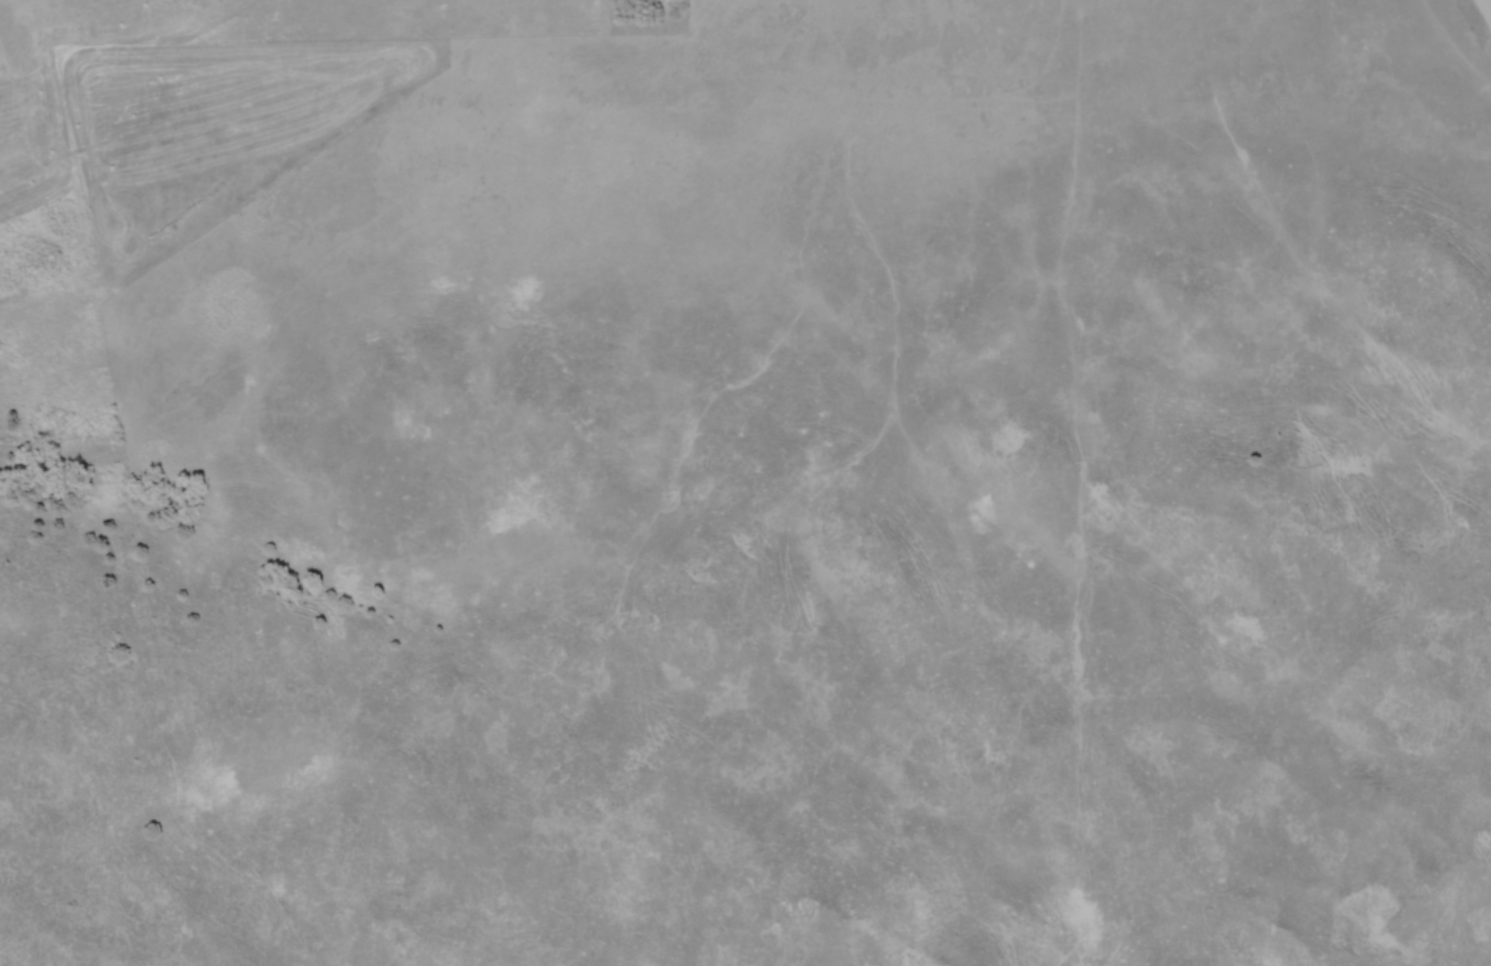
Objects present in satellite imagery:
road: (1487, 6)

